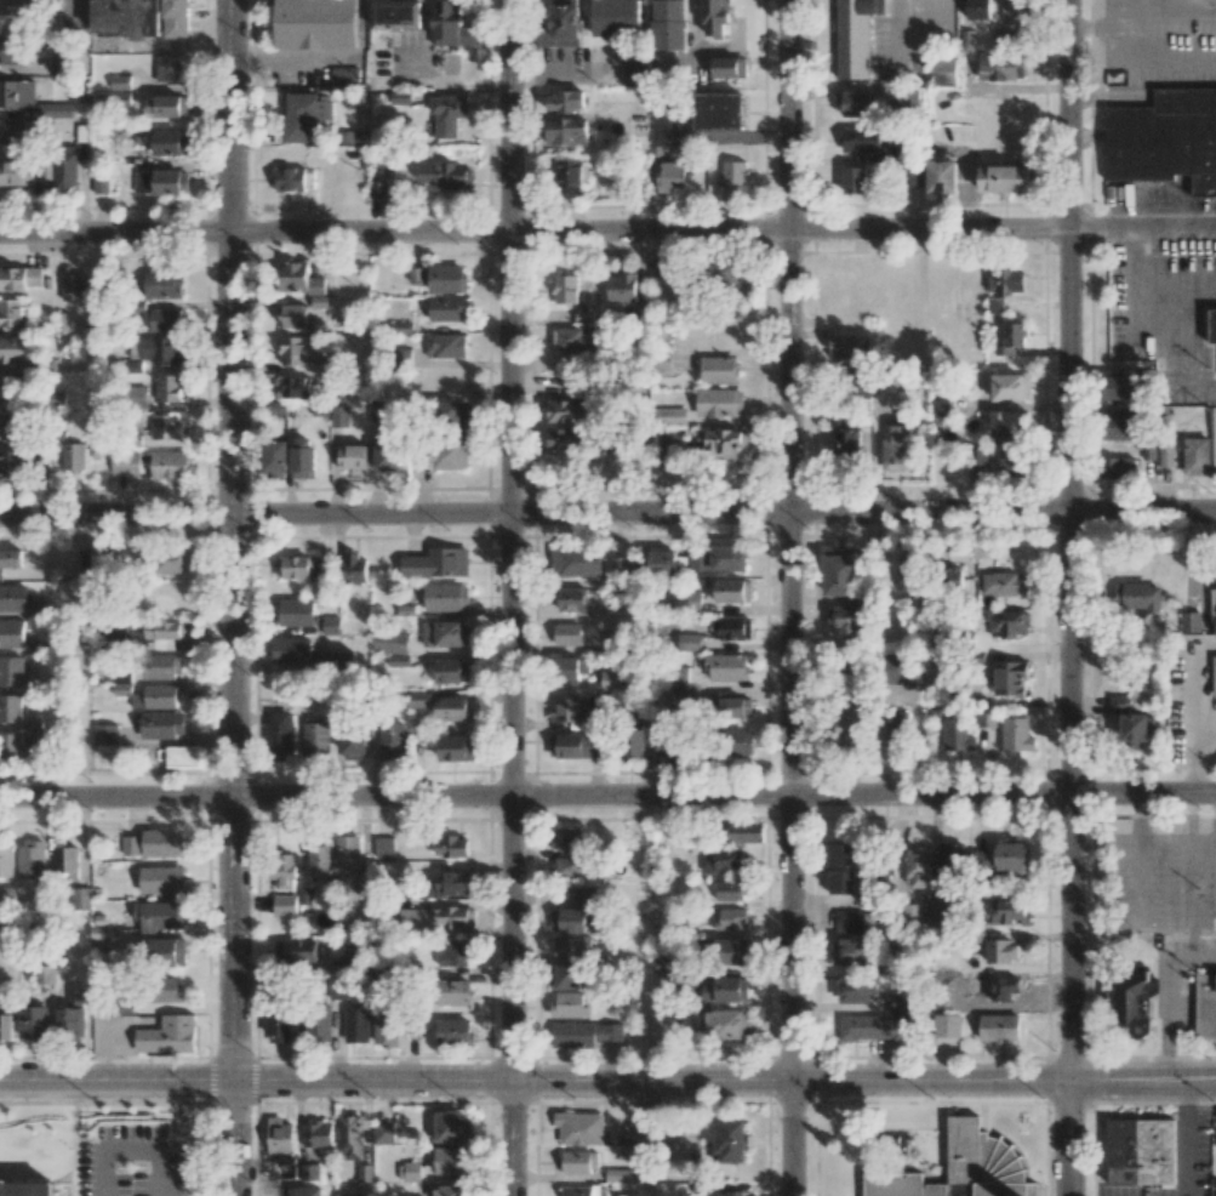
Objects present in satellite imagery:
road: (1130, 1)
building: (16, 7)
building: (978, 8)
building: (396, 13)
building: (1017, 13)
building: (56, 15)
building: (124, 17)
building: (616, 17)
building: (714, 17)
building: (177, 18)
building: (563, 23)
building: (319, 24)
building: (452, 24)
building: (670, 24)
road: (1090, 27)
road: (1113, 32)
building: (855, 35)
building: (12, 51)
building: (61, 63)
building: (729, 67)
building: (1000, 67)
building: (169, 68)
building: (635, 68)
building: (942, 72)
building: (344, 76)
building: (120, 81)
building: (17, 93)
building: (907, 99)
building: (565, 101)
building: (855, 102)
building: (166, 106)
building: (55, 110)
building: (718, 110)
building: (447, 113)
building: (304, 114)
building: (658, 123)
building: (15, 131)
building: (566, 131)
building: (1163, 137)
building: (861, 141)
building: (170, 142)
building: (892, 154)
building: (65, 169)
building: (45, 170)
building: (16, 172)
building: (572, 172)
building: (667, 172)
building: (942, 175)
building: (444, 176)
building: (732, 177)
building: (917, 178)
building: (1004, 178)
building: (293, 180)
building: (855, 180)
building: (101, 182)
building: (161, 182)
building: (377, 189)
road: (1142, 228)
road: (533, 230)
building: (658, 267)
building: (19, 278)
building: (298, 278)
building: (446, 279)
road: (1176, 280)
building: (1006, 281)
building: (162, 284)
building: (73, 286)
building: (622, 287)
building: (566, 289)
building: (319, 301)
building: (994, 304)
building: (446, 308)
building: (11, 313)
building: (165, 319)
road: (1152, 320)
building: (1212, 326)
building: (1011, 337)
building: (571, 338)
building: (445, 346)
building: (850, 347)
building: (17, 348)
building: (155, 349)
building: (293, 349)
building: (719, 370)
building: (1121, 386)
building: (296, 387)
building: (1011, 387)
building: (10, 388)
building: (165, 389)
building: (720, 401)
building: (938, 406)
building: (565, 410)
building: (378, 411)
building: (450, 414)
building: (339, 416)
building: (669, 416)
building: (1005, 423)
building: (8, 426)
building: (1120, 426)
building: (166, 427)
building: (565, 438)
building: (670, 442)
building: (725, 443)
building: (847, 443)
building: (897, 449)
building: (388, 452)
building: (1165, 455)
building: (1197, 455)
building: (73, 456)
building: (274, 456)
building: (352, 456)
building: (449, 456)
building: (302, 457)
building: (978, 457)
building: (1011, 462)
building: (10, 463)
building: (125, 463)
building: (169, 465)
building: (1120, 467)
road: (607, 516)
road: (232, 540)
building: (11, 558)
building: (718, 558)
building: (167, 562)
building: (575, 562)
building: (436, 563)
building: (662, 563)
building: (620, 565)
building: (302, 568)
building: (354, 569)
building: (840, 571)
building: (907, 571)
building: (999, 583)
building: (732, 591)
building: (1137, 596)
building: (13, 597)
building: (446, 597)
road: (790, 597)
road: (510, 598)
building: (571, 598)
building: (686, 598)
road: (1068, 598)
building: (1212, 605)
building: (295, 613)
building: (844, 617)
building: (1191, 621)
building: (1007, 622)
building: (331, 625)
building: (729, 628)
building: (162, 630)
building: (445, 633)
building: (567, 633)
building: (613, 636)
building: (390, 642)
building: (689, 642)
building: (162, 644)
building: (291, 649)
building: (337, 660)
building: (162, 666)
building: (567, 667)
building: (727, 667)
building: (898, 668)
building: (11, 670)
building: (451, 671)
building: (1215, 674)
building: (676, 677)
building: (1010, 678)
building: (610, 679)
building: (122, 684)
building: (156, 696)
road: (1193, 699)
building: (418, 700)
building: (678, 700)
building: (735, 706)
building: (10, 708)
building: (452, 708)
building: (566, 708)
building: (1131, 719)
building: (162, 724)
building: (850, 727)
building: (897, 730)
building: (104, 734)
building: (280, 734)
building: (957, 734)
building: (1017, 734)
building: (318, 739)
building: (354, 741)
building: (393, 741)
building: (41, 742)
building: (669, 742)
building: (737, 742)
building: (10, 745)
building: (632, 745)
building: (577, 746)
building: (457, 747)
building: (182, 756)
road: (1194, 764)
road: (607, 797)
building: (743, 832)
building: (565, 838)
building: (155, 843)
building: (451, 845)
building: (383, 847)
building: (347, 852)
building: (1010, 856)
building: (32, 860)
building: (319, 860)
building: (724, 860)
building: (6, 861)
building: (65, 862)
building: (949, 864)
building: (572, 866)
building: (841, 867)
building: (917, 867)
building: (284, 871)
building: (162, 879)
building: (451, 884)
building: (729, 890)
building: (586, 896)
building: (80, 898)
building: (6, 900)
building: (284, 905)
building: (912, 912)
building: (1006, 912)
building: (159, 916)
building: (938, 917)
building: (433, 918)
building: (731, 918)
building: (567, 919)
building: (849, 921)
building: (98, 939)
building: (572, 945)
building: (299, 951)
building: (731, 951)
building: (1001, 951)
building: (169, 952)
building: (850, 952)
building: (354, 955)
building: (453, 955)
building: (383, 972)
building: (565, 975)
building: (1009, 985)
building: (856, 989)
building: (167, 990)
building: (725, 990)
road: (1166, 991)
building: (453, 992)
building: (1131, 1001)
building: (898, 1002)
building: (569, 1004)
building: (1204, 1007)
building: (70, 1014)
building: (34, 1021)
building: (5, 1023)
building: (719, 1024)
building: (320, 1025)
building: (356, 1025)
building: (662, 1025)
building: (944, 1025)
building: (874, 1027)
building: (279, 1029)
building: (384, 1029)
building: (998, 1029)
building: (455, 1031)
building: (584, 1033)
building: (167, 1035)
road: (115, 1081)
road: (723, 1081)
road: (150, 1103)
building: (453, 1127)
building: (580, 1128)
building: (382, 1133)
building: (639, 1133)
building: (318, 1134)
building: (278, 1135)
building: (349, 1135)
road: (232, 1138)
road: (1186, 1138)
building: (729, 1141)
road: (47, 1147)
building: (1143, 1150)
building: (150, 1155)
building: (450, 1161)
building: (578, 1161)
parking lot: (38, 1163)
building: (284, 1168)
building: (961, 1168)
building: (409, 1171)
building: (309, 1172)
building: (627, 1174)
building: (28, 1188)
building: (449, 1190)
building: (304, 1191)
building: (580, 1191)
building: (733, 1192)
building: (349, 1194)

